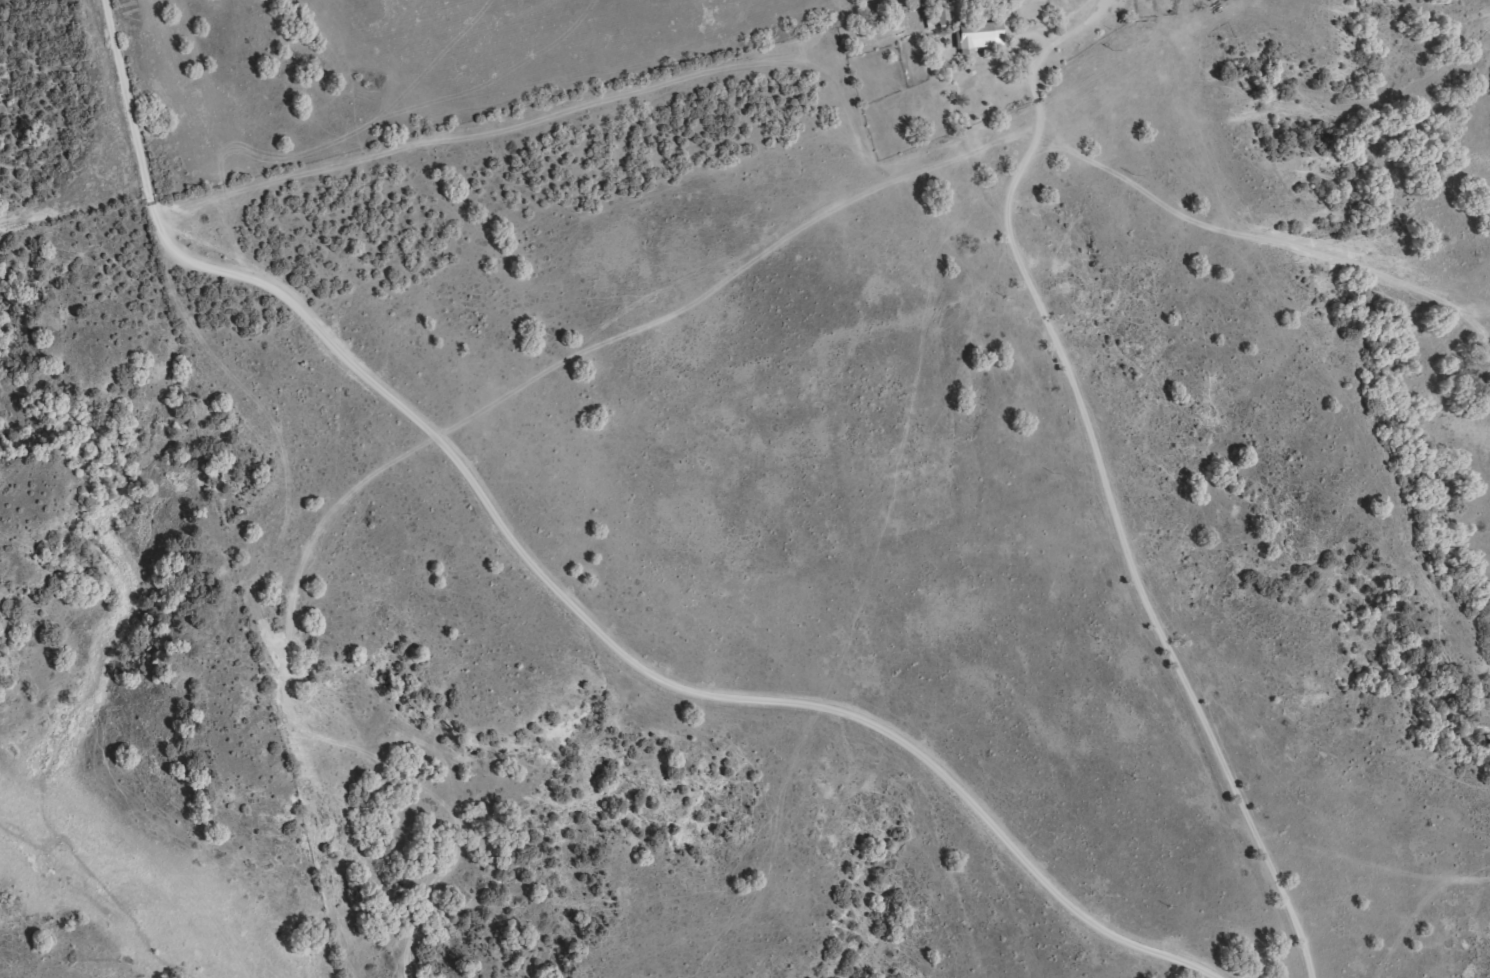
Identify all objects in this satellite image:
road: (1027, 36)
building: (976, 44)
road: (113, 80)
road: (1118, 527)
road: (613, 645)

